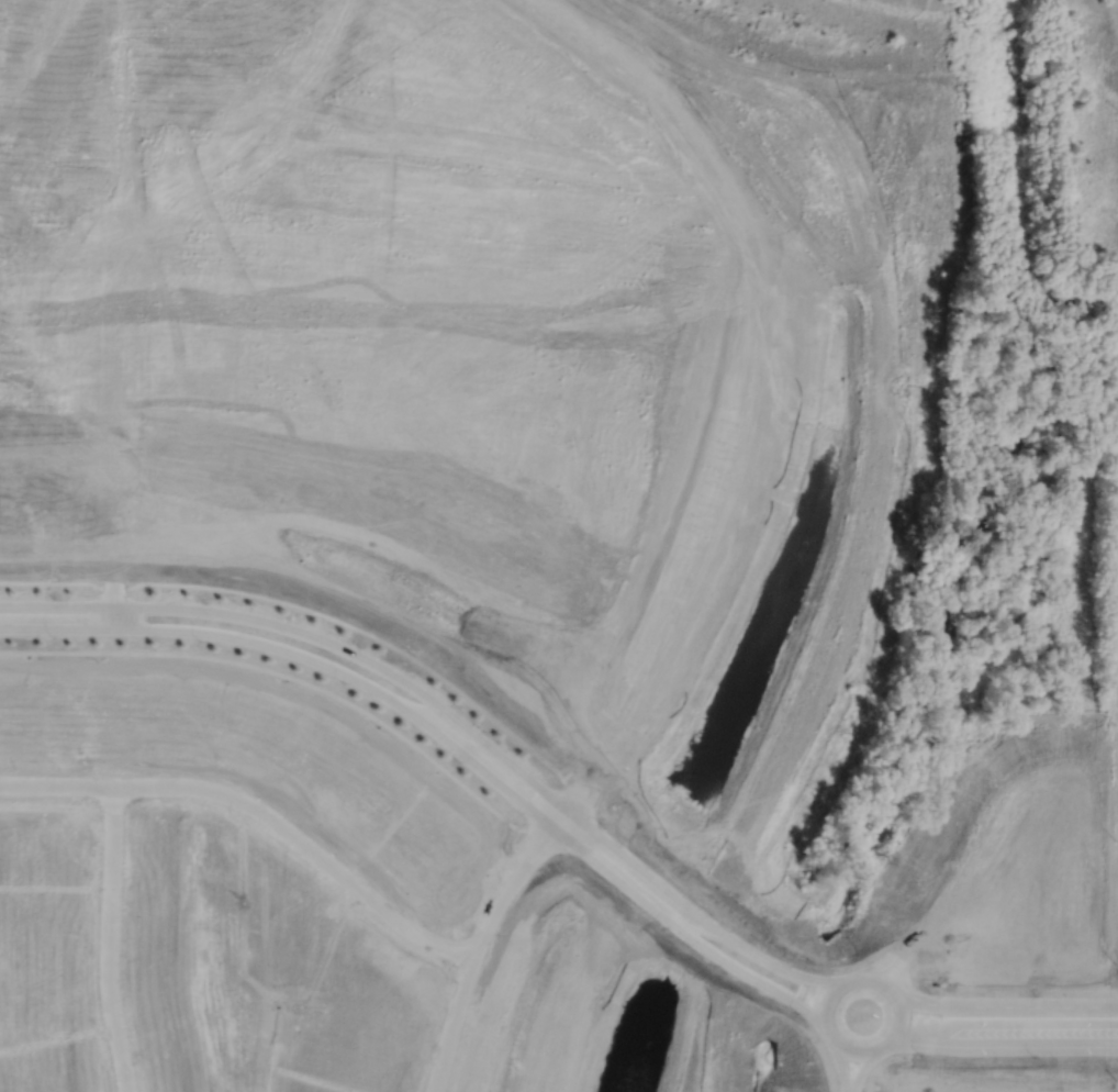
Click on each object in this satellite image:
road: (121, 598)
road: (457, 717)
road: (450, 743)
road: (258, 806)
road: (490, 917)
road: (112, 938)
road: (1003, 1010)
road: (891, 1038)
road: (917, 1043)
road: (1031, 1043)
road: (840, 1063)
road: (863, 1069)

